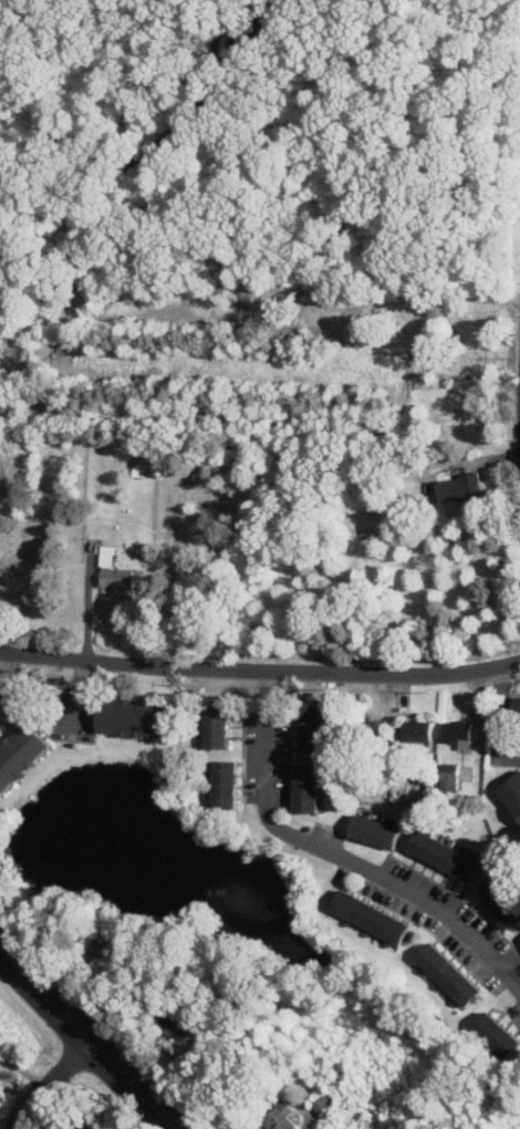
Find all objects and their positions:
road: (256, 2)
road: (285, 4)
road: (217, 31)
parking lot: (250, 31)
road: (129, 64)
road: (142, 160)
park: (261, 310)
building: (459, 487)
building: (113, 571)
road: (85, 609)
road: (260, 670)
road: (1, 680)
road: (77, 696)
building: (517, 707)
road: (500, 716)
building: (133, 717)
building: (217, 723)
building: (313, 729)
building: (416, 731)
building: (457, 732)
building: (371, 733)
building: (21, 754)
building: (449, 776)
building: (225, 784)
building: (306, 788)
dam: (35, 793)
building: (511, 794)
building: (374, 831)
building: (444, 854)
road: (339, 858)
building: (500, 902)
building: (371, 919)
building: (104, 955)
building: (448, 974)
building: (177, 1021)
building: (495, 1035)
road: (89, 1036)
road: (51, 1081)
building: (326, 1100)
building: (279, 1116)
building: (75, 1128)
building: (76, 1128)

